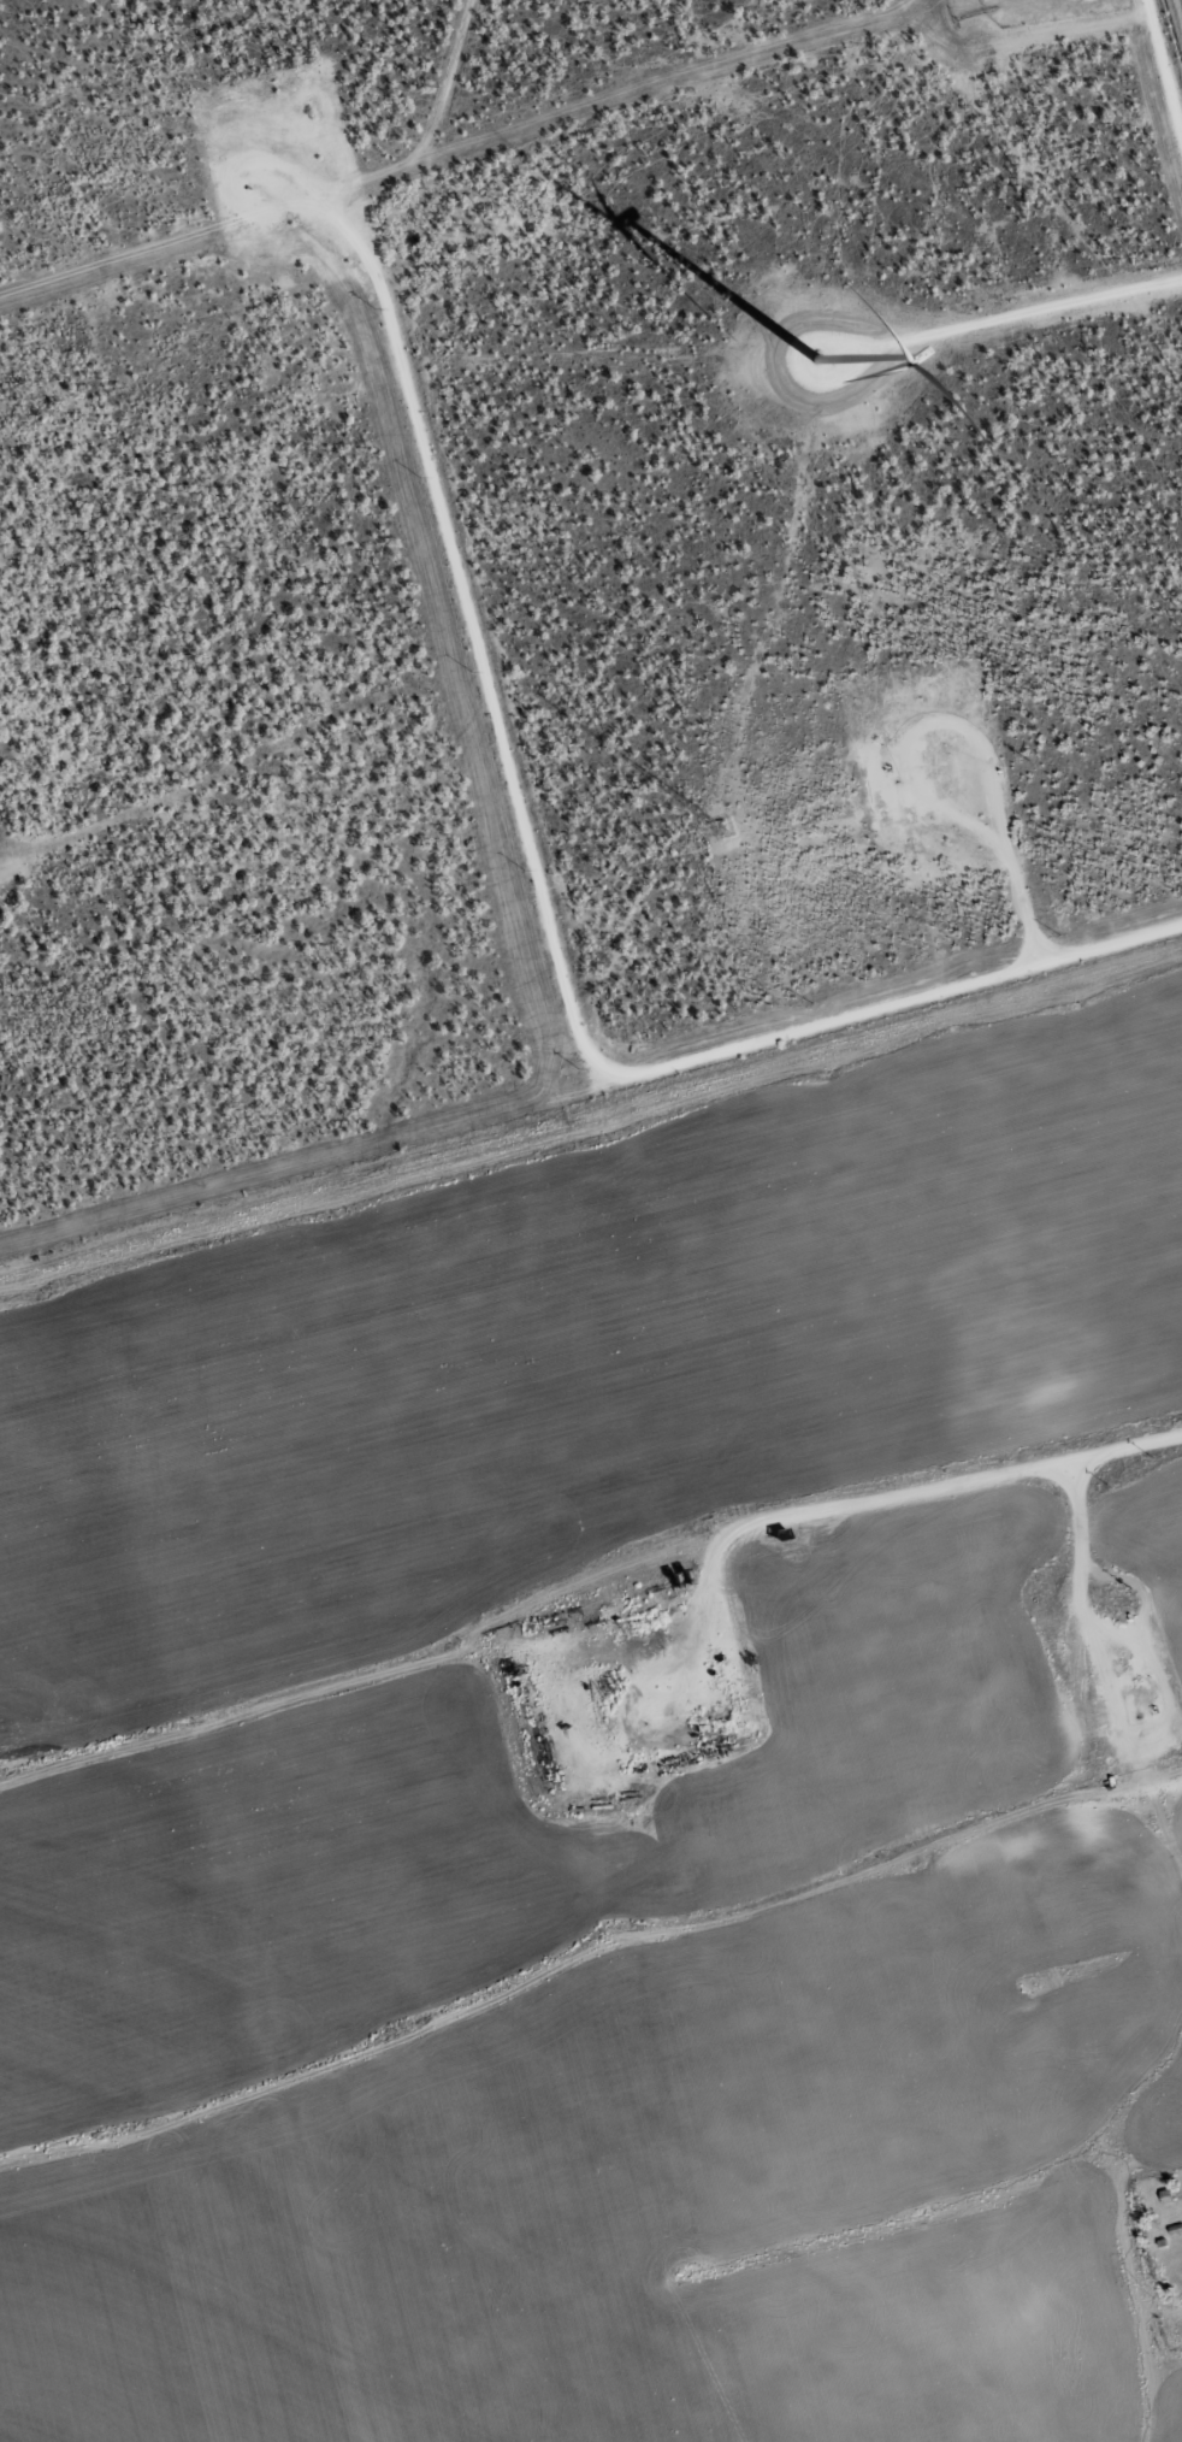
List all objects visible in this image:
wind turbine: (812, 358)

